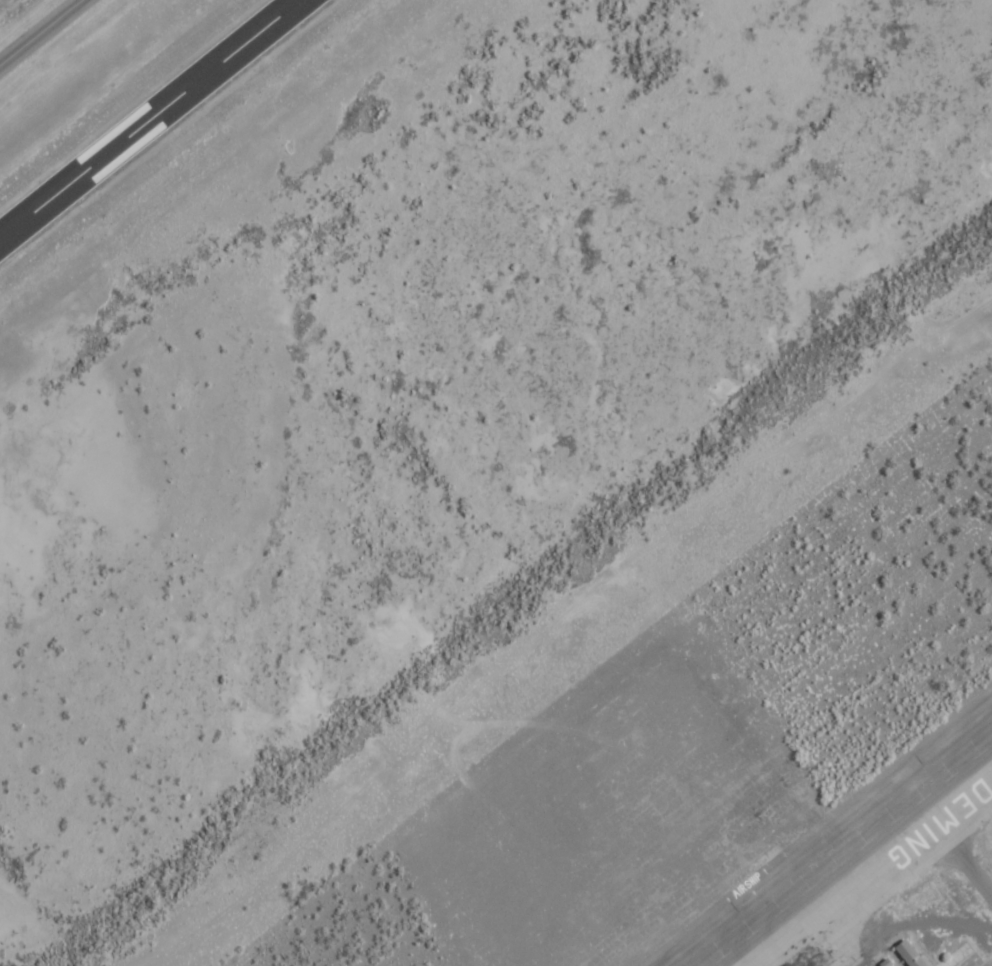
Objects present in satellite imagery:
park: (4, 3)
airport taxiway: (40, 32)
airport runway: (148, 118)
airport taxiway: (879, 877)
building: (912, 953)

